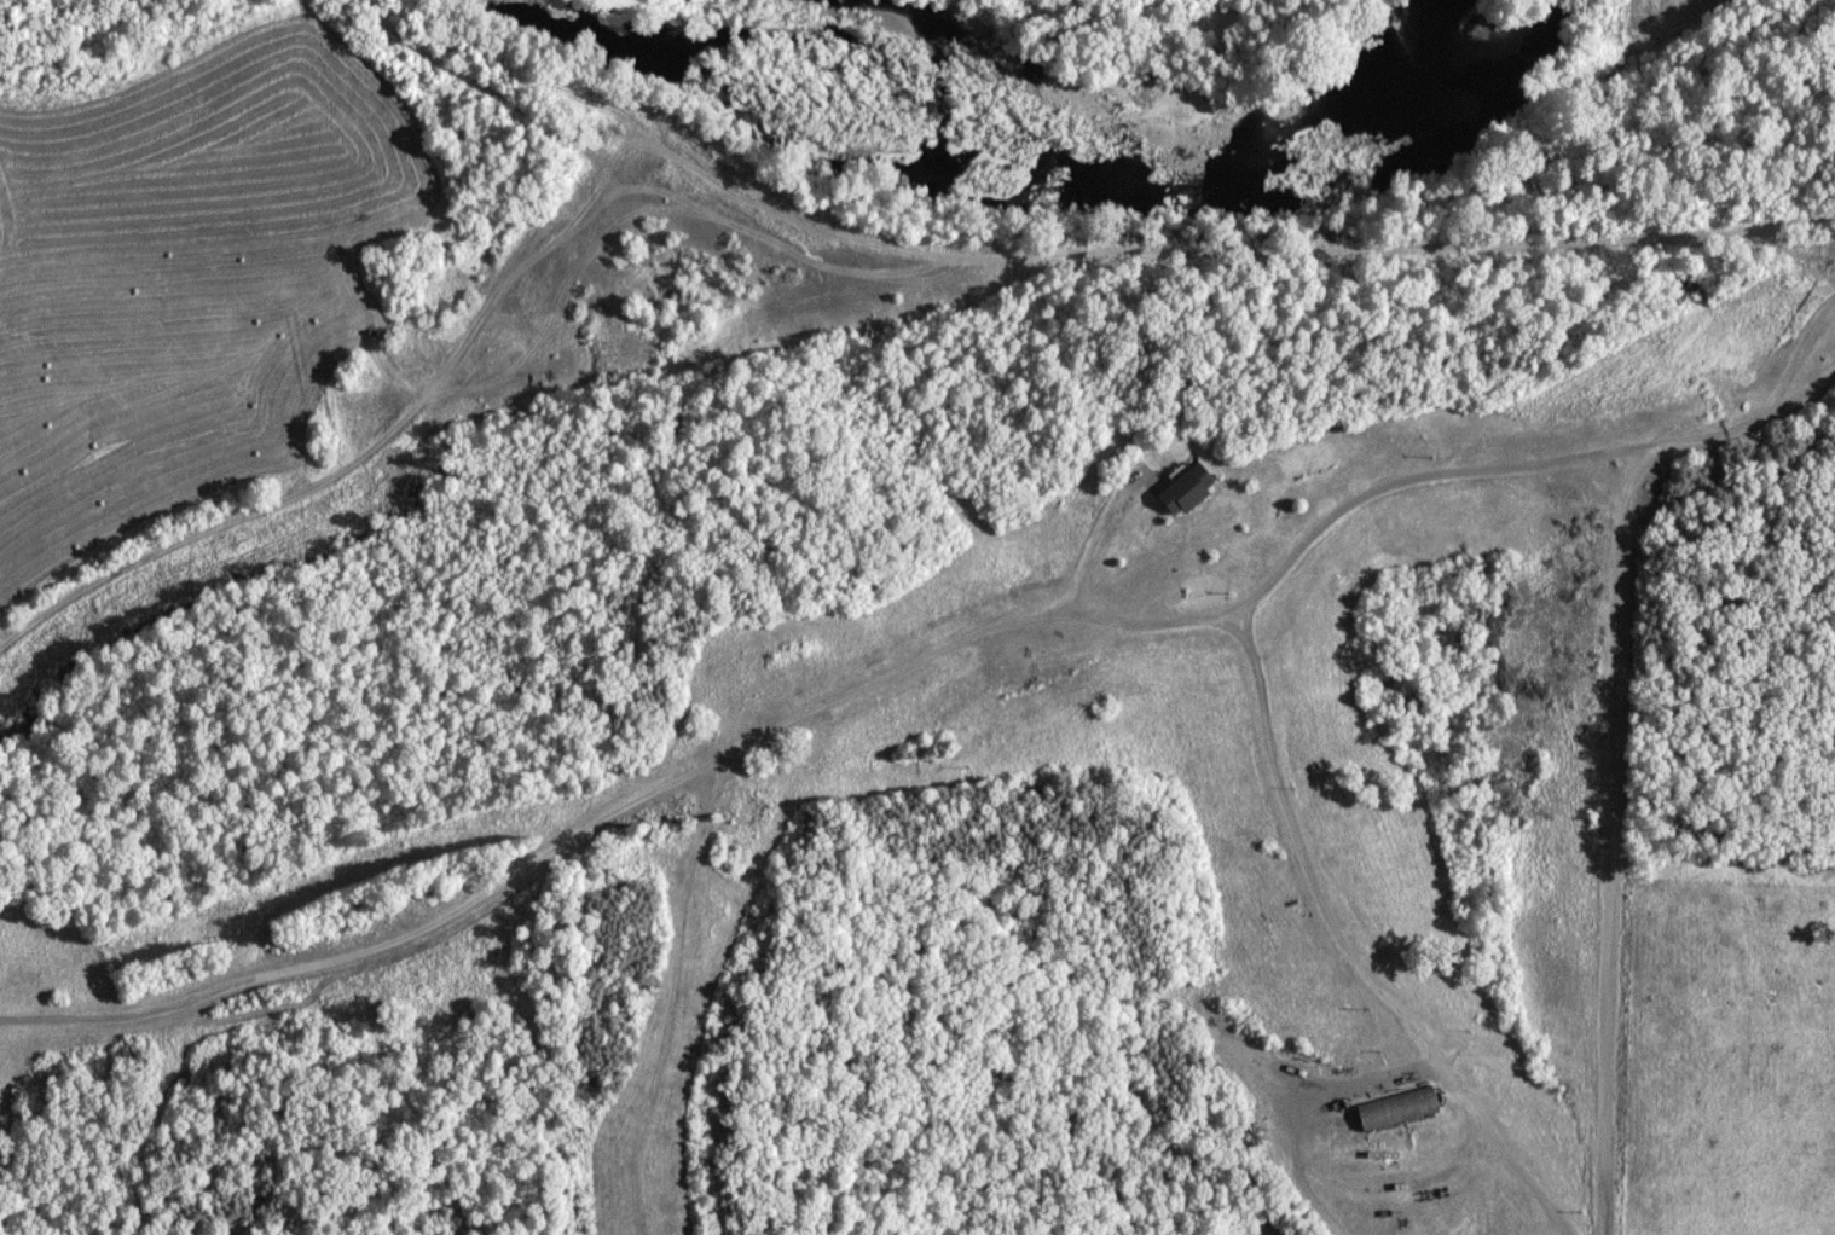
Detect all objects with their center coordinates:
river: (1013, 191)
road: (1200, 262)
road: (377, 456)
road: (1517, 465)
building: (1188, 492)
road: (612, 813)
road: (1610, 842)
road: (1342, 941)
building: (1400, 1111)

